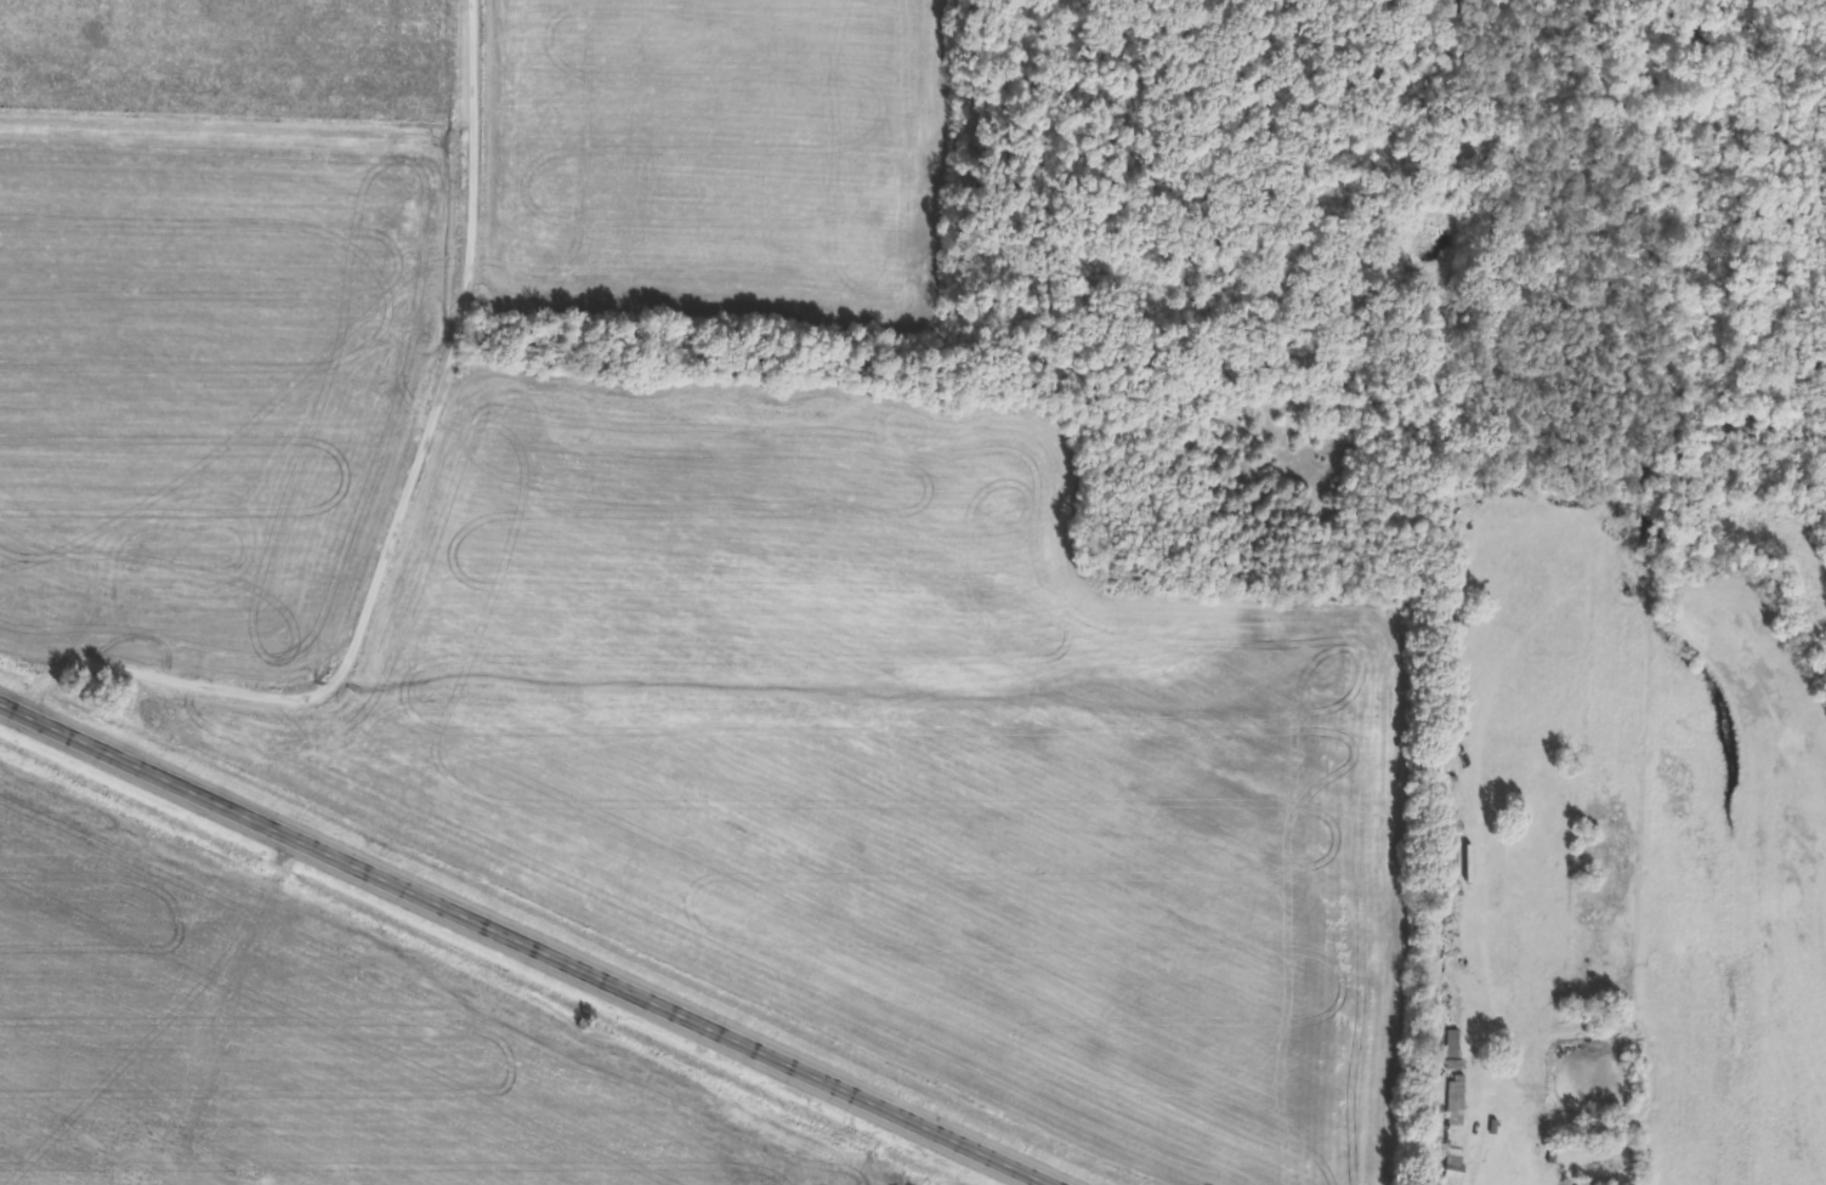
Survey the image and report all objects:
road: (398, 508)
railway: (549, 928)
road: (522, 941)
building: (1454, 1056)
building: (1456, 1132)

